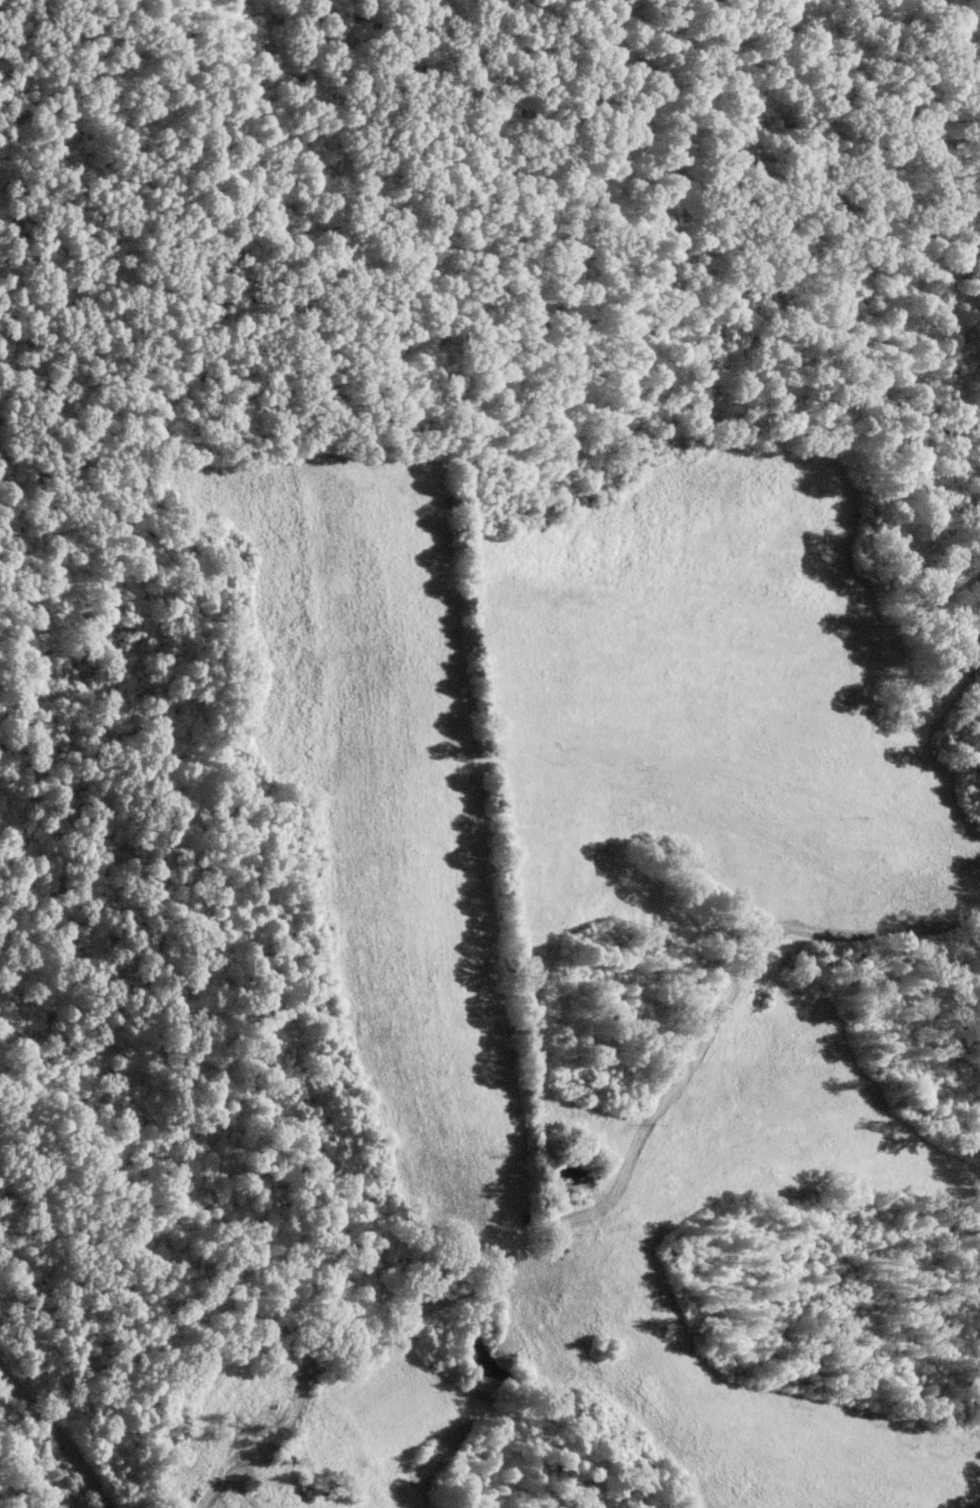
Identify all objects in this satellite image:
building: (275, 1414)
road: (61, 1430)
building: (278, 1485)

